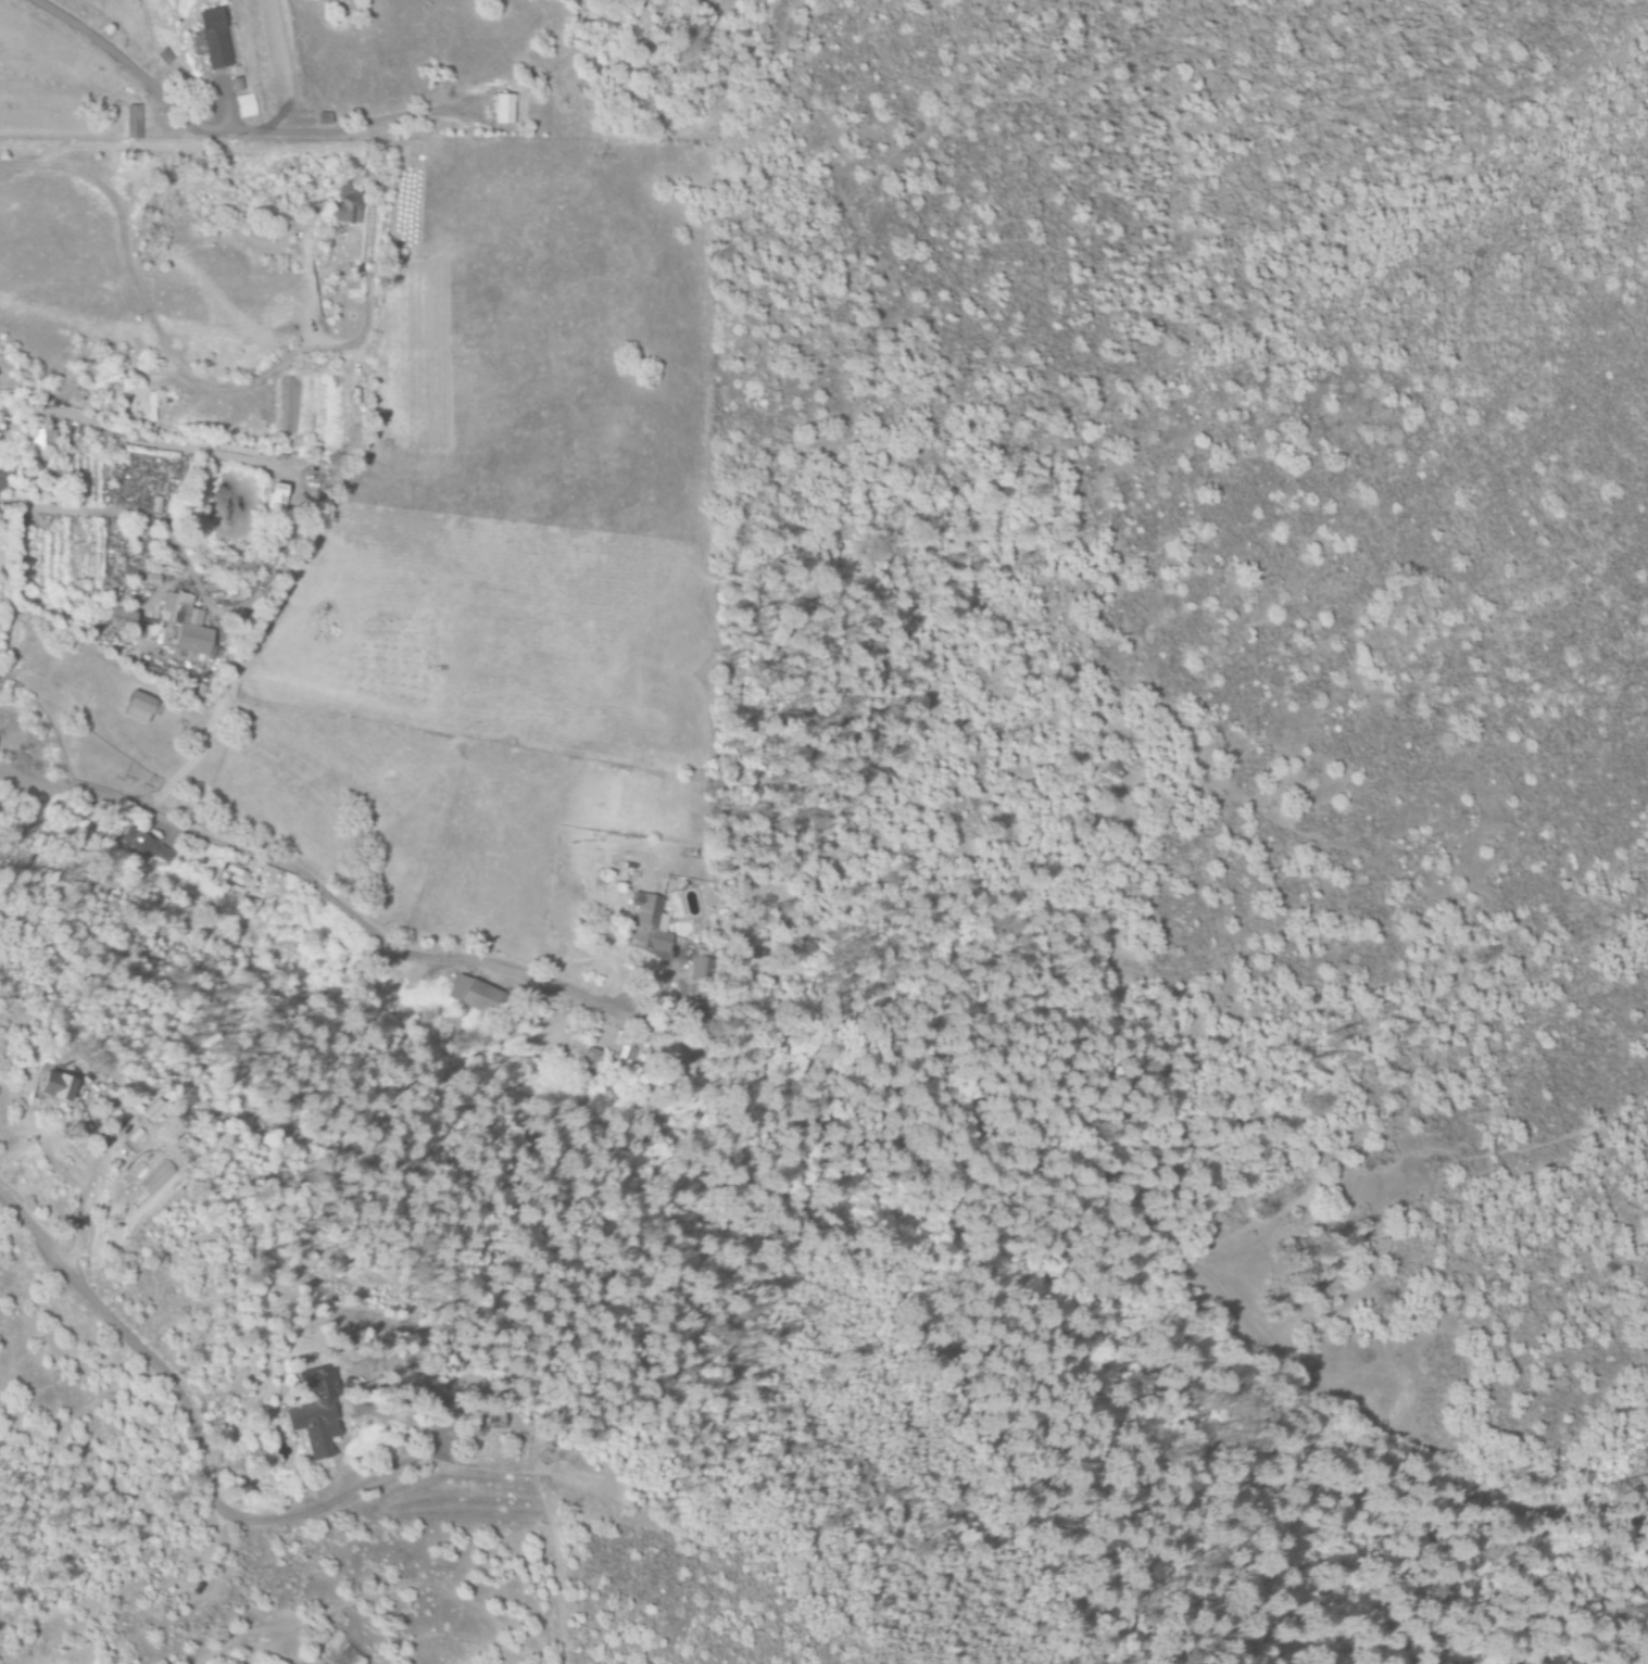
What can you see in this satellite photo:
building: (213, 39)
building: (163, 56)
building: (244, 106)
building: (503, 110)
building: (322, 119)
building: (131, 123)
building: (344, 206)
building: (41, 439)
road: (122, 440)
building: (1, 480)
building: (273, 497)
building: (118, 620)
building: (180, 629)
building: (138, 708)
building: (146, 845)
building: (647, 925)
building: (474, 996)
building: (625, 1046)
building: (586, 1057)
road: (865, 1081)
building: (51, 1085)
building: (151, 1112)
road: (1294, 1152)
building: (153, 1180)
building: (311, 1414)
building: (485, 1420)
road: (225, 1561)

